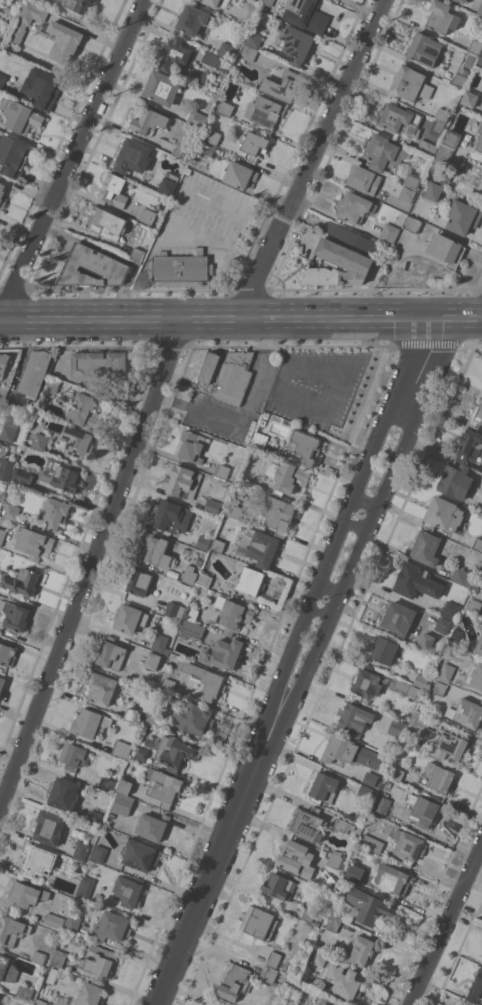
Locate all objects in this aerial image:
building: (332, 0)
building: (457, 0)
building: (463, 1)
building: (217, 2)
building: (269, 2)
building: (78, 5)
building: (0, 6)
building: (480, 9)
building: (248, 12)
building: (32, 13)
building: (306, 15)
building: (442, 17)
building: (194, 19)
building: (20, 35)
building: (254, 39)
building: (63, 41)
building: (297, 43)
building: (475, 46)
building: (424, 49)
building: (227, 50)
building: (175, 54)
building: (254, 55)
building: (216, 60)
building: (480, 60)
building: (460, 79)
building: (2, 80)
building: (411, 83)
building: (282, 84)
building: (43, 87)
building: (162, 87)
building: (470, 98)
road: (338, 106)
building: (225, 108)
building: (265, 111)
building: (443, 114)
road: (95, 115)
building: (20, 116)
building: (197, 118)
building: (398, 118)
building: (148, 121)
building: (213, 136)
building: (451, 139)
building: (479, 139)
building: (254, 145)
building: (427, 147)
building: (207, 148)
building: (181, 150)
building: (384, 152)
building: (13, 155)
building: (135, 156)
building: (441, 162)
building: (239, 174)
building: (364, 179)
building: (412, 180)
building: (168, 185)
building: (117, 189)
building: (434, 190)
building: (407, 194)
building: (2, 196)
road: (181, 207)
building: (355, 207)
building: (148, 216)
building: (464, 216)
building: (107, 223)
building: (412, 223)
building: (389, 234)
building: (351, 237)
building: (129, 240)
building: (446, 249)
building: (137, 254)
building: (477, 255)
road: (266, 265)
building: (338, 265)
building: (93, 267)
building: (181, 269)
road: (22, 275)
road: (241, 319)
road: (265, 341)
building: (4, 361)
road: (288, 363)
building: (99, 364)
road: (422, 364)
building: (36, 373)
building: (227, 375)
building: (51, 386)
building: (3, 392)
building: (84, 411)
building: (476, 416)
building: (9, 428)
building: (36, 440)
building: (259, 440)
building: (77, 441)
building: (470, 445)
building: (192, 446)
building: (306, 446)
building: (3, 449)
building: (6, 469)
building: (221, 470)
building: (65, 476)
building: (23, 477)
building: (290, 478)
building: (456, 481)
building: (183, 482)
building: (0, 502)
road: (366, 502)
building: (212, 506)
building: (234, 510)
building: (12, 511)
building: (55, 512)
building: (278, 513)
building: (444, 514)
building: (171, 517)
road: (357, 525)
building: (2, 536)
building: (33, 542)
building: (203, 542)
building: (477, 544)
building: (218, 545)
building: (259, 546)
building: (427, 548)
building: (157, 550)
road: (327, 566)
road: (93, 567)
building: (480, 572)
building: (190, 574)
road: (349, 575)
building: (463, 576)
building: (204, 579)
building: (22, 581)
building: (251, 581)
building: (417, 581)
building: (139, 582)
road: (332, 587)
building: (473, 605)
building: (174, 610)
building: (451, 610)
road: (322, 611)
building: (191, 613)
building: (232, 614)
building: (16, 615)
building: (131, 618)
building: (400, 618)
building: (434, 624)
building: (191, 630)
building: (456, 636)
building: (428, 642)
building: (160, 644)
building: (479, 645)
building: (385, 649)
building: (111, 653)
building: (226, 653)
building: (6, 654)
building: (153, 660)
building: (446, 671)
building: (475, 675)
building: (205, 679)
building: (421, 680)
building: (367, 682)
building: (2, 684)
building: (168, 684)
building: (102, 687)
building: (406, 688)
building: (439, 688)
building: (155, 712)
building: (466, 712)
building: (133, 714)
building: (194, 718)
building: (355, 719)
building: (417, 722)
building: (90, 723)
building: (396, 727)
building: (419, 748)
building: (451, 748)
building: (122, 749)
building: (140, 752)
building: (175, 752)
building: (351, 752)
building: (74, 757)
building: (397, 774)
building: (440, 777)
building: (371, 778)
building: (106, 784)
building: (125, 786)
building: (163, 786)
building: (324, 788)
building: (365, 791)
building: (64, 792)
building: (382, 803)
building: (426, 810)
building: (94, 818)
building: (119, 821)
building: (308, 823)
building: (343, 825)
building: (153, 826)
building: (49, 827)
building: (371, 843)
building: (409, 847)
building: (81, 851)
building: (100, 853)
building: (140, 854)
building: (355, 856)
building: (297, 858)
building: (334, 859)
building: (39, 860)
road: (218, 869)
building: (354, 872)
building: (392, 879)
building: (86, 885)
building: (279, 886)
building: (128, 891)
building: (25, 894)
building: (370, 906)
building: (341, 912)
building: (308, 915)
building: (54, 920)
building: (259, 922)
building: (73, 923)
building: (333, 924)
building: (113, 927)
road: (446, 927)
building: (12, 930)
building: (361, 950)
building: (39, 956)
building: (319, 957)
building: (58, 958)
building: (274, 959)
building: (99, 961)
building: (7, 968)
building: (287, 969)
building: (269, 974)
building: (52, 975)
building: (344, 981)
building: (235, 982)
building: (476, 988)
building: (25, 992)
building: (90, 994)
building: (327, 1001)
building: (40, 1002)
building: (293, 1004)

